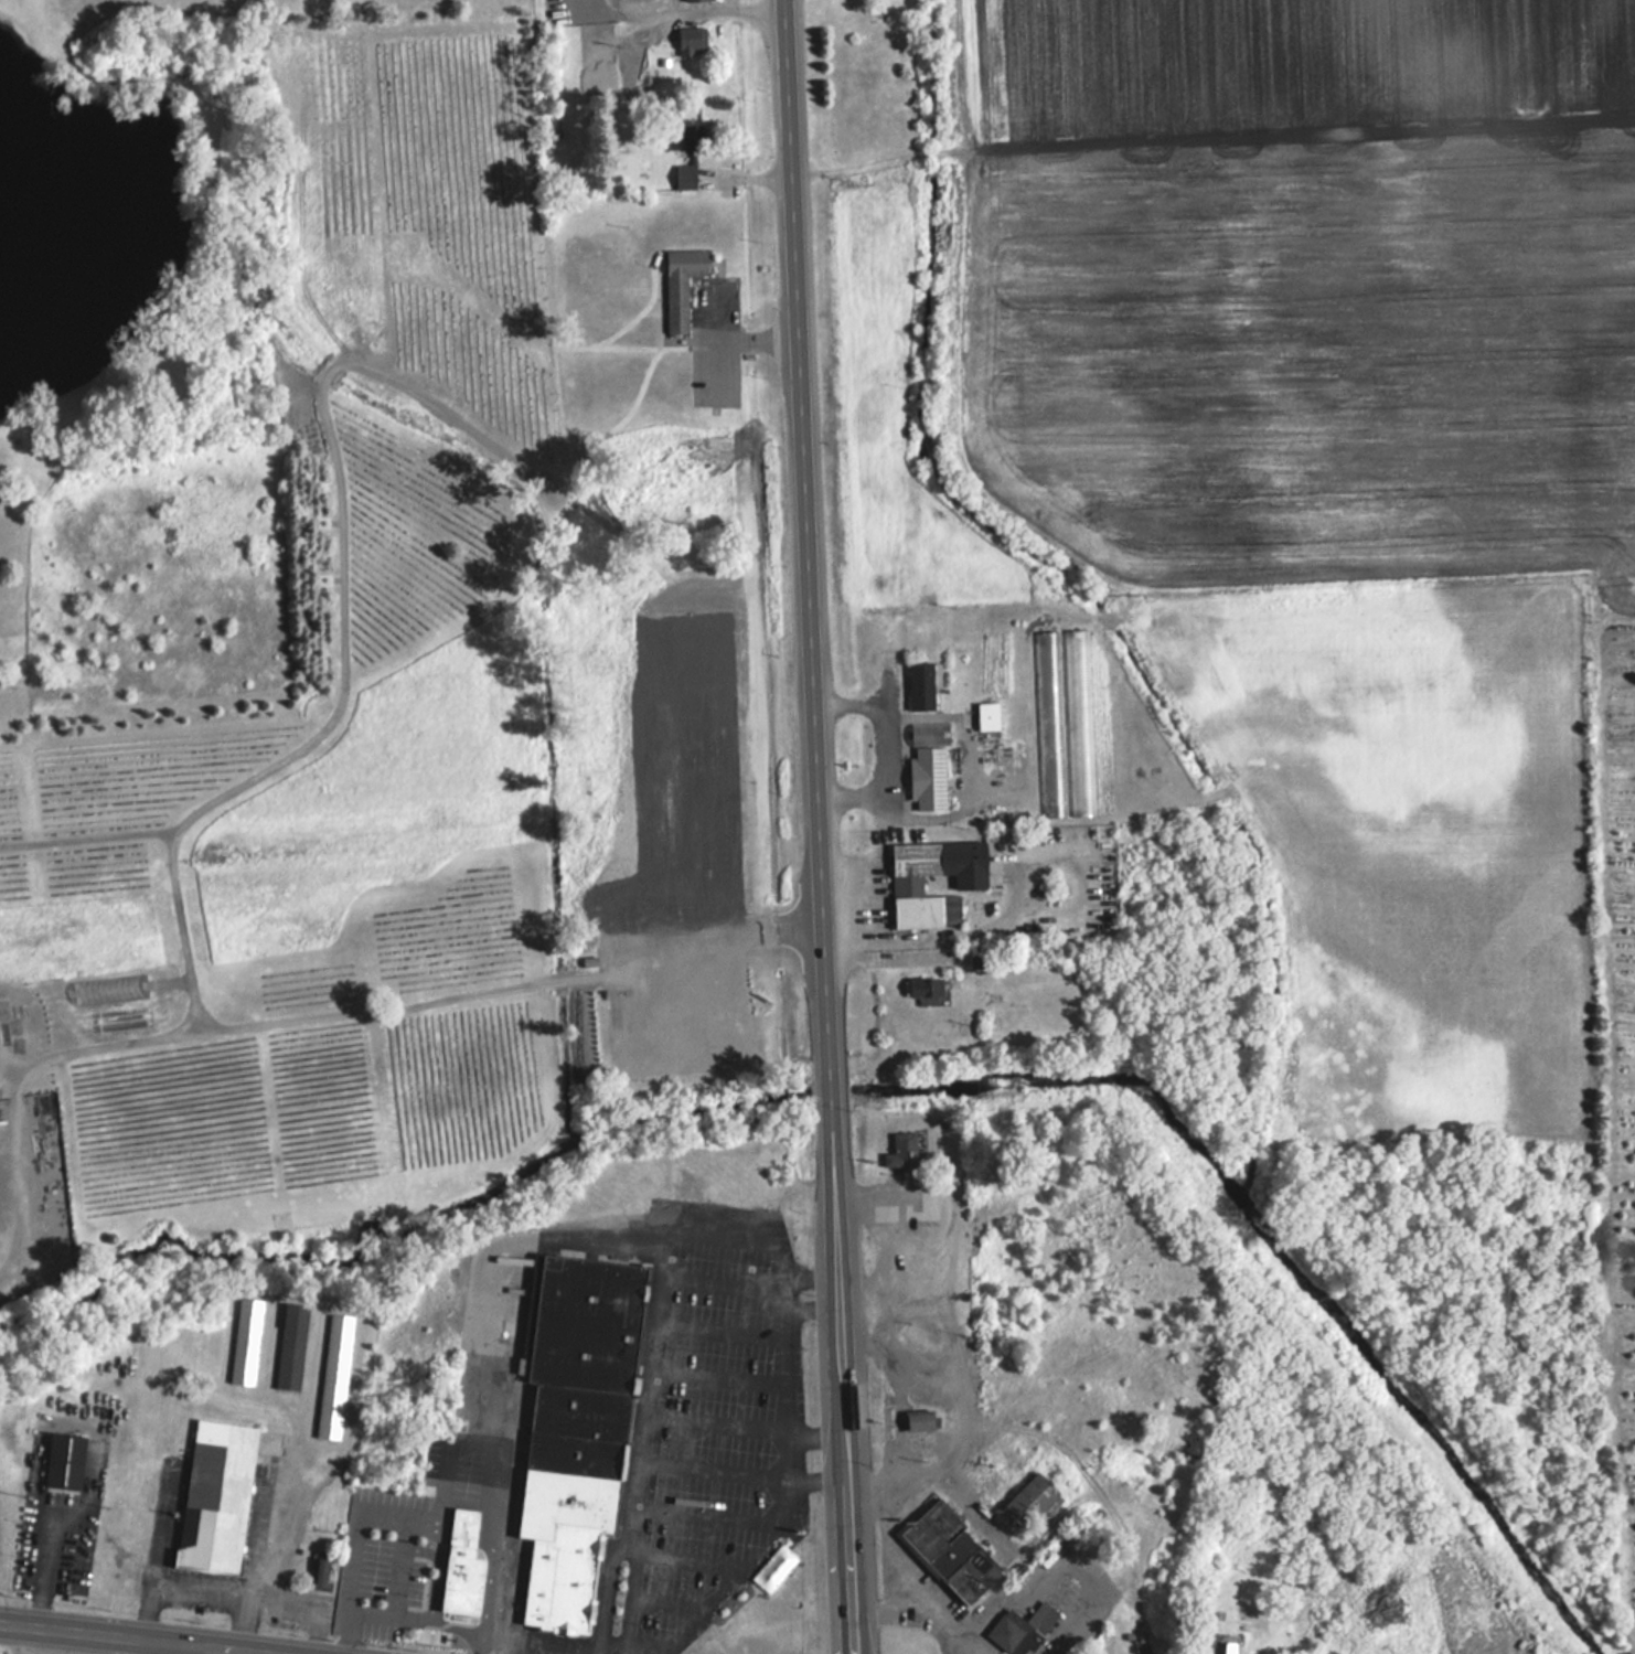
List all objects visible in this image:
building: (692, 0)
road: (687, 8)
building: (648, 35)
building: (691, 40)
building: (696, 137)
building: (685, 174)
building: (682, 284)
road: (733, 337)
road: (723, 361)
road: (806, 535)
road: (343, 606)
building: (1075, 641)
building: (923, 685)
road: (870, 715)
building: (989, 716)
building: (929, 733)
road: (870, 824)
road: (690, 832)
road: (86, 837)
building: (970, 882)
building: (926, 986)
road: (320, 1015)
road: (832, 1084)
road: (833, 1102)
building: (901, 1149)
road: (9, 1162)
road: (876, 1251)
road: (820, 1308)
building: (245, 1340)
building: (290, 1344)
road: (662, 1353)
road: (799, 1373)
building: (333, 1375)
road: (844, 1380)
road: (881, 1411)
building: (921, 1420)
building: (587, 1427)
road: (824, 1431)
building: (65, 1460)
building: (216, 1496)
road: (281, 1502)
building: (1028, 1504)
road: (149, 1548)
building: (951, 1550)
road: (890, 1565)
building: (474, 1566)
building: (320, 1572)
road: (216, 1590)
road: (609, 1594)
road: (502, 1598)
road: (631, 1598)
road: (300, 1601)
building: (1041, 1615)
road: (400, 1616)
road: (930, 1623)
road: (147, 1633)
building: (1013, 1633)
road: (615, 1640)
road: (962, 1643)
road: (171, 1645)
building: (1223, 1647)

